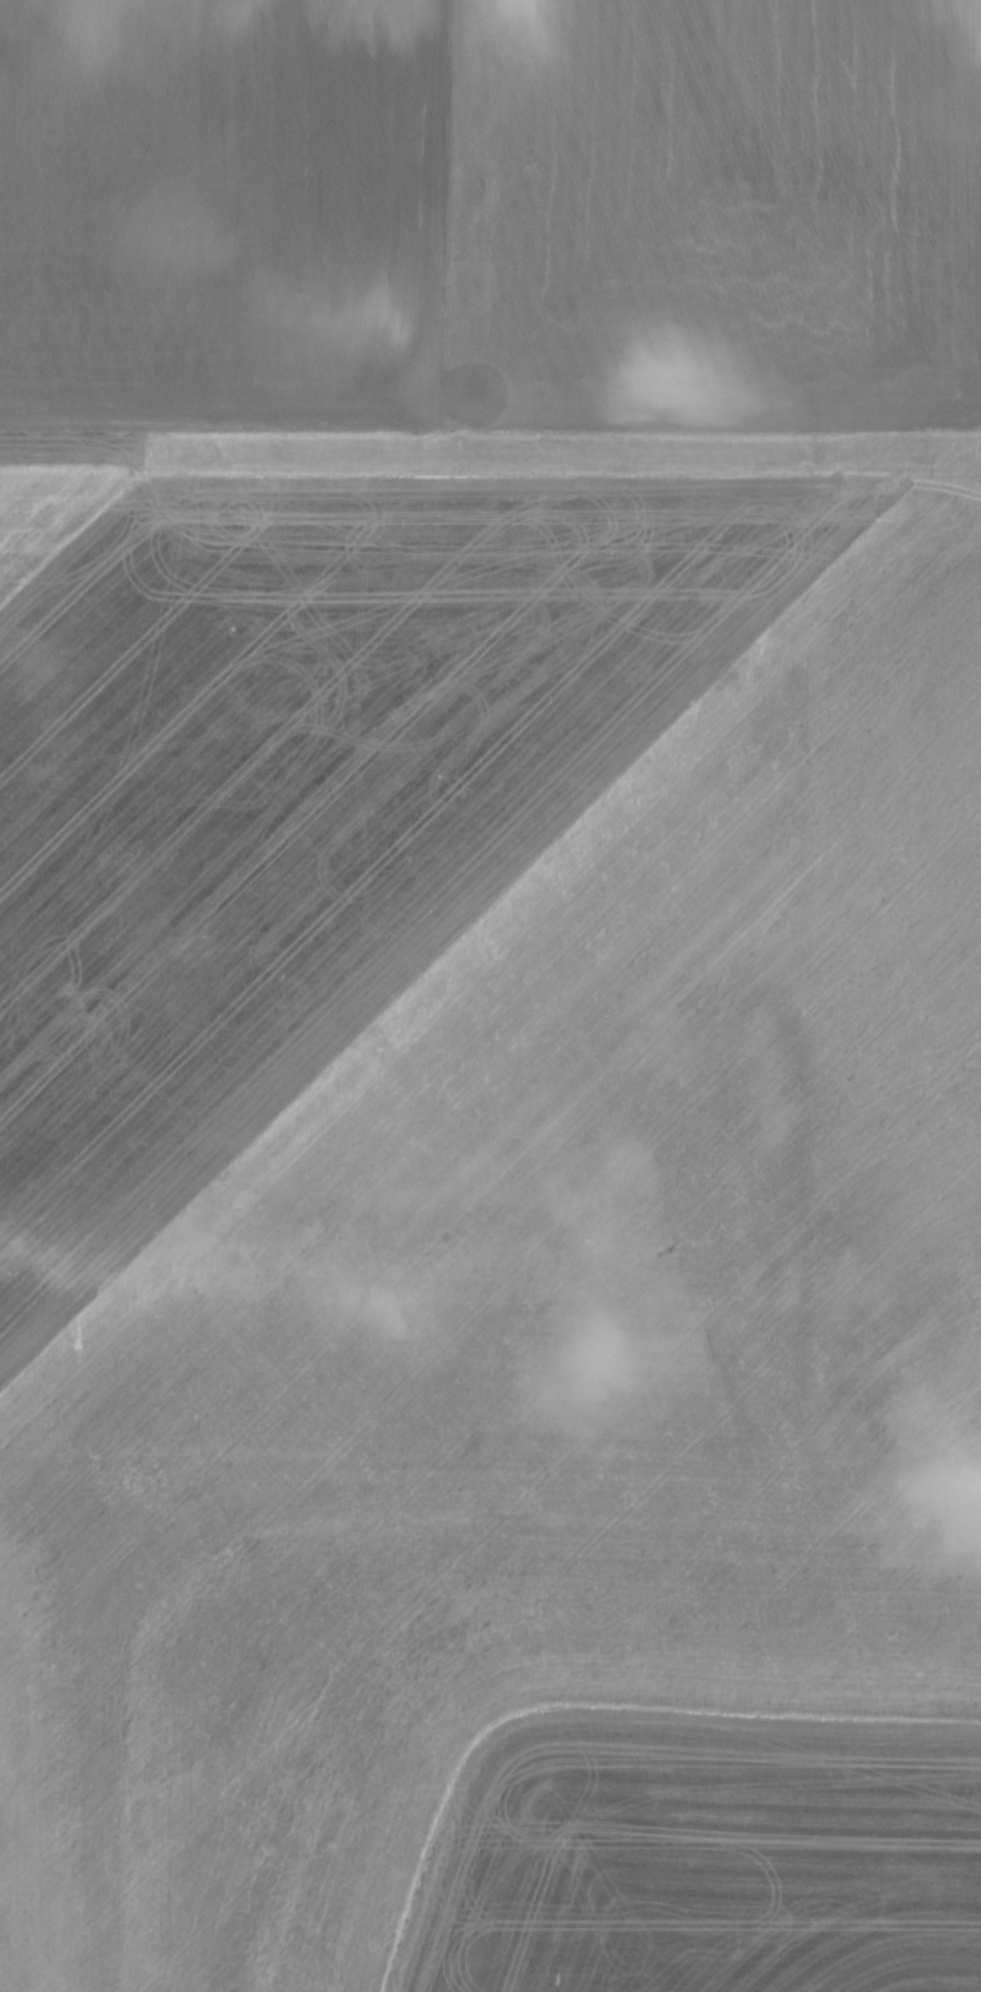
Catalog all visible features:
crop: (490, 996)

